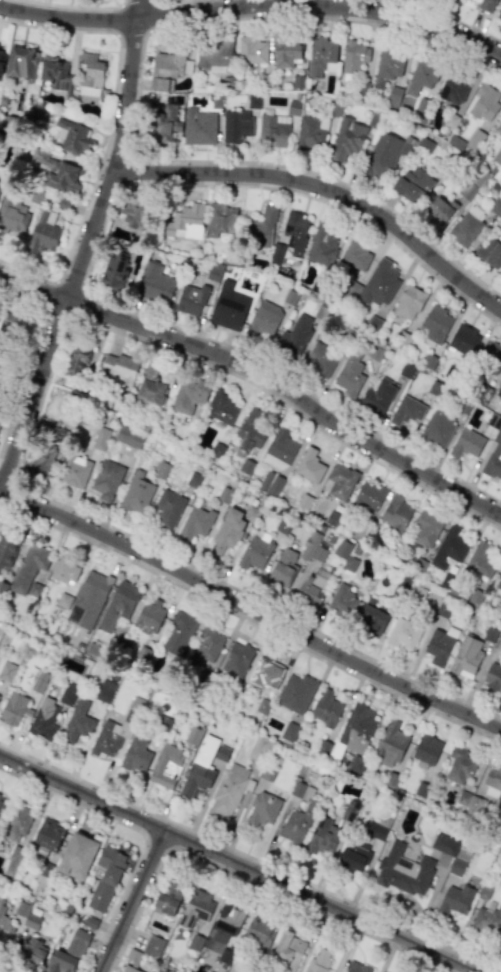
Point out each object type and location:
road: (165, 1)
road: (135, 3)
building: (486, 4)
road: (254, 6)
road: (72, 7)
building: (499, 14)
road: (151, 15)
road: (441, 15)
road: (117, 21)
road: (49, 29)
road: (133, 33)
building: (252, 51)
building: (0, 54)
building: (214, 55)
building: (287, 55)
building: (355, 55)
building: (322, 57)
building: (20, 62)
building: (391, 64)
building: (1, 66)
building: (88, 70)
building: (166, 71)
building: (56, 75)
building: (421, 77)
road: (138, 86)
building: (453, 90)
building: (393, 96)
building: (3, 99)
building: (253, 102)
building: (485, 103)
building: (293, 108)
building: (39, 111)
building: (451, 120)
building: (164, 124)
building: (236, 126)
building: (199, 127)
building: (498, 129)
building: (273, 131)
building: (310, 134)
building: (70, 136)
building: (347, 140)
building: (385, 155)
street lamp: (256, 159)
road: (124, 171)
building: (56, 172)
road: (93, 180)
building: (413, 184)
building: (1, 185)
street lamp: (170, 186)
road: (324, 188)
building: (35, 196)
road: (329, 203)
building: (63, 204)
building: (440, 210)
building: (12, 215)
building: (131, 217)
building: (221, 220)
street lamp: (357, 220)
building: (185, 222)
building: (467, 225)
building: (261, 228)
building: (44, 232)
building: (295, 232)
building: (323, 244)
road: (84, 248)
building: (277, 253)
building: (489, 253)
building: (356, 256)
street lamp: (461, 264)
building: (114, 269)
building: (214, 272)
building: (155, 283)
building: (380, 283)
road: (49, 294)
building: (191, 299)
building: (409, 302)
building: (228, 307)
building: (264, 319)
building: (373, 322)
building: (436, 324)
building: (15, 328)
building: (295, 336)
building: (464, 339)
road: (33, 354)
building: (490, 357)
building: (320, 359)
building: (78, 361)
building: (119, 368)
building: (405, 370)
road: (260, 374)
building: (349, 375)
building: (151, 385)
building: (188, 396)
building: (378, 397)
building: (222, 406)
building: (407, 411)
building: (1, 414)
building: (437, 429)
building: (249, 432)
building: (129, 437)
building: (100, 438)
building: (466, 443)
building: (280, 448)
building: (216, 451)
building: (48, 455)
building: (494, 457)
building: (247, 466)
building: (309, 466)
building: (161, 470)
building: (74, 471)
building: (106, 479)
building: (193, 480)
building: (339, 481)
building: (270, 483)
building: (137, 493)
building: (224, 495)
building: (367, 499)
building: (168, 509)
building: (397, 512)
building: (195, 523)
building: (426, 528)
building: (227, 532)
building: (309, 545)
building: (449, 547)
building: (7, 549)
building: (255, 552)
building: (320, 552)
building: (345, 555)
building: (480, 560)
building: (29, 566)
building: (283, 568)
building: (64, 569)
building: (498, 582)
building: (400, 585)
building: (313, 586)
building: (2, 588)
building: (34, 590)
building: (91, 596)
building: (63, 600)
building: (342, 601)
building: (118, 605)
road: (250, 609)
building: (149, 616)
building: (500, 616)
building: (374, 619)
road: (250, 622)
building: (403, 633)
building: (178, 637)
building: (207, 643)
building: (124, 645)
building: (438, 647)
building: (95, 650)
building: (141, 655)
building: (465, 658)
building: (236, 659)
building: (73, 667)
building: (7, 671)
building: (265, 672)
building: (493, 675)
building: (38, 682)
building: (105, 692)
building: (295, 692)
building: (66, 697)
building: (262, 706)
building: (325, 708)
building: (14, 709)
building: (43, 718)
building: (79, 721)
building: (356, 727)
building: (117, 729)
building: (160, 729)
building: (289, 732)
building: (193, 735)
building: (390, 743)
building: (259, 748)
building: (321, 749)
building: (426, 749)
building: (336, 750)
building: (221, 753)
building: (135, 756)
building: (356, 764)
building: (459, 765)
building: (166, 766)
building: (200, 766)
building: (266, 772)
building: (493, 778)
building: (390, 779)
building: (421, 789)
building: (301, 790)
building: (227, 793)
building: (462, 798)
building: (2, 803)
building: (263, 809)
building: (349, 810)
building: (472, 810)
building: (17, 822)
building: (297, 824)
building: (375, 830)
road: (139, 832)
building: (48, 836)
building: (322, 838)
building: (444, 848)
building: (354, 853)
building: (78, 856)
road: (249, 857)
building: (13, 861)
road: (238, 863)
building: (458, 863)
building: (402, 870)
building: (44, 873)
building: (106, 878)
road: (245, 881)
building: (484, 890)
road: (130, 900)
building: (455, 900)
building: (168, 901)
building: (21, 908)
building: (196, 908)
building: (487, 918)
building: (32, 921)
building: (90, 922)
building: (227, 923)
building: (4, 927)
building: (260, 931)
building: (499, 936)
building: (153, 946)
building: (289, 950)
building: (31, 952)
building: (69, 953)
building: (318, 961)
building: (357, 967)
building: (131, 970)

